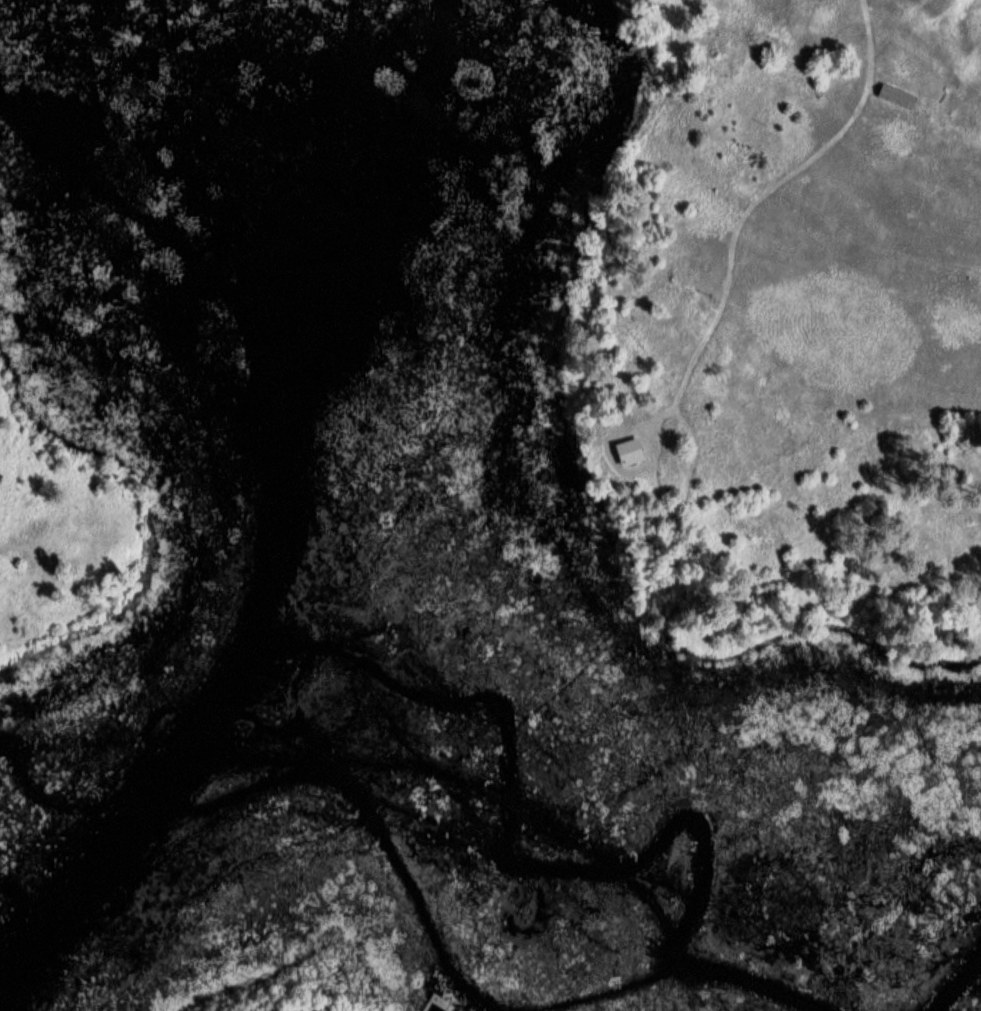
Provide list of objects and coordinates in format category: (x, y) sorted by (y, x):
building: (633, 451)

